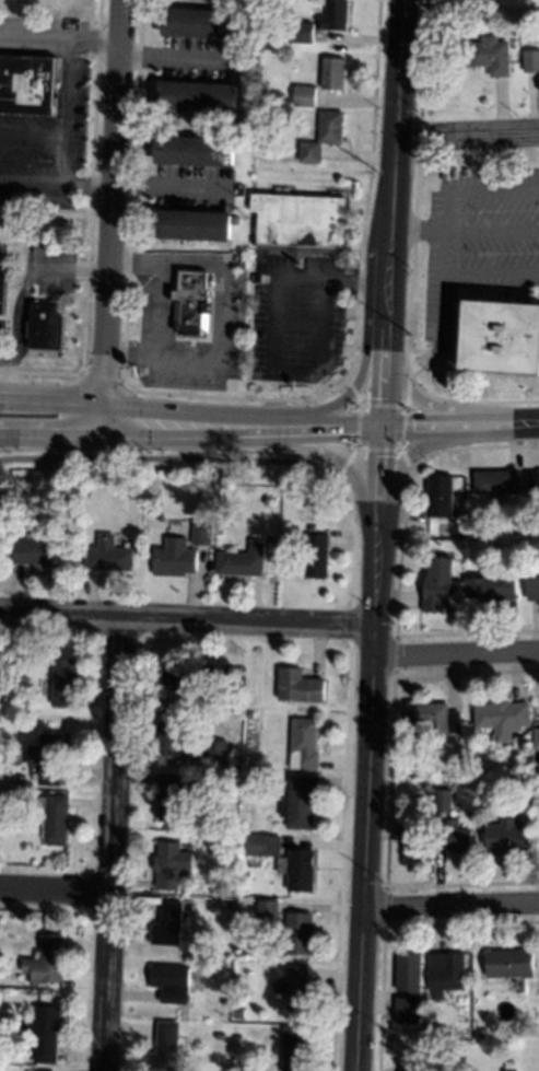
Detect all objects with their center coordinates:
building: (336, 15)
building: (202, 24)
building: (302, 33)
road: (59, 35)
building: (484, 56)
road: (173, 57)
building: (530, 61)
building: (333, 73)
building: (27, 84)
road: (70, 88)
building: (198, 96)
building: (305, 96)
building: (323, 136)
road: (33, 137)
road: (468, 137)
building: (196, 151)
road: (65, 162)
road: (57, 185)
road: (169, 189)
road: (112, 212)
road: (446, 218)
building: (301, 221)
building: (192, 225)
road: (419, 229)
road: (208, 264)
road: (492, 276)
road: (286, 279)
building: (2, 295)
building: (192, 303)
building: (46, 330)
building: (502, 338)
road: (162, 361)
road: (51, 418)
road: (320, 428)
traffic signals: (382, 428)
road: (51, 431)
road: (166, 463)
building: (229, 474)
building: (496, 482)
building: (532, 489)
building: (440, 496)
building: (202, 533)
road: (377, 535)
building: (35, 550)
building: (317, 555)
building: (106, 556)
building: (174, 558)
building: (243, 561)
building: (440, 584)
building: (532, 584)
building: (492, 590)
road: (187, 621)
road: (456, 656)
building: (184, 675)
building: (61, 683)
building: (298, 686)
building: (502, 718)
building: (435, 720)
building: (174, 733)
building: (537, 740)
building: (304, 743)
building: (215, 753)
building: (48, 756)
building: (525, 761)
road: (342, 772)
building: (248, 781)
building: (426, 785)
building: (169, 798)
building: (444, 801)
building: (300, 802)
building: (54, 816)
building: (506, 837)
building: (413, 838)
building: (459, 839)
building: (222, 841)
road: (113, 845)
building: (262, 846)
building: (169, 864)
building: (297, 870)
road: (56, 890)
road: (452, 907)
building: (267, 912)
building: (244, 922)
building: (168, 926)
building: (298, 933)
building: (48, 959)
building: (511, 964)
building: (446, 974)
building: (172, 982)
building: (296, 988)
building: (409, 988)
building: (225, 1002)
building: (482, 1034)
building: (44, 1035)
building: (220, 1036)
building: (165, 1048)
building: (294, 1050)
building: (507, 1070)

